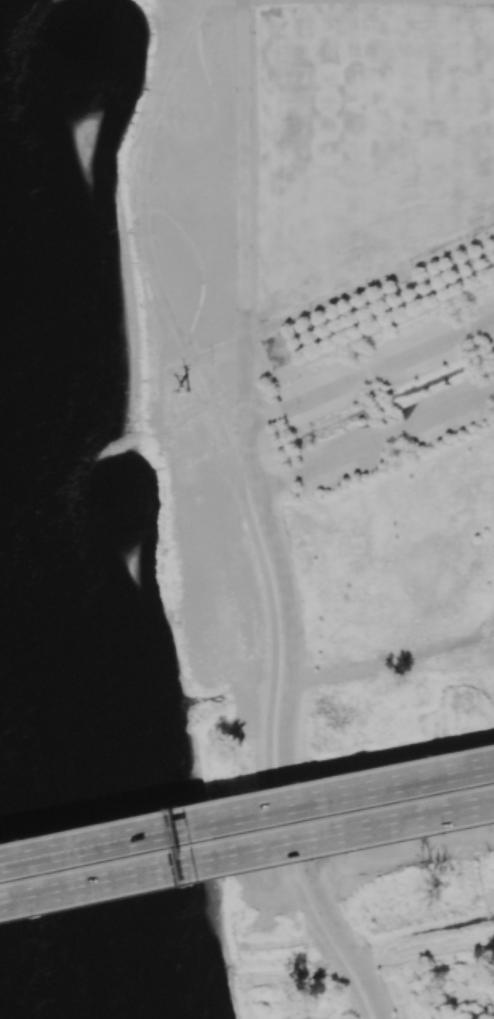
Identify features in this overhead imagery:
street lamp: (487, 244)
street lamp: (468, 252)
park: (319, 257)
street lamp: (412, 276)
street lamp: (452, 283)
street lamp: (385, 287)
street lamp: (484, 290)
street lamp: (367, 294)
road: (342, 296)
street lamp: (463, 307)
street lamp: (331, 311)
street lamp: (428, 315)
street lamp: (311, 319)
street lamp: (351, 326)
street lamp: (281, 331)
street lamp: (383, 333)
street lamp: (479, 345)
street lamp: (362, 351)
street lamp: (326, 356)
street lamp: (211, 361)
parking lot: (387, 366)
street lamp: (490, 370)
road: (370, 372)
street lamp: (274, 379)
street lamp: (378, 389)
street lamp: (433, 390)
road: (205, 394)
street lamp: (205, 409)
street lamp: (388, 413)
street lamp: (174, 422)
street lamp: (338, 431)
parking lot: (400, 433)
road: (376, 442)
road: (267, 520)
street lamp: (184, 807)
road: (247, 815)
street lamp: (19, 840)
road: (247, 853)
street lamp: (198, 883)
street lamp: (33, 916)

